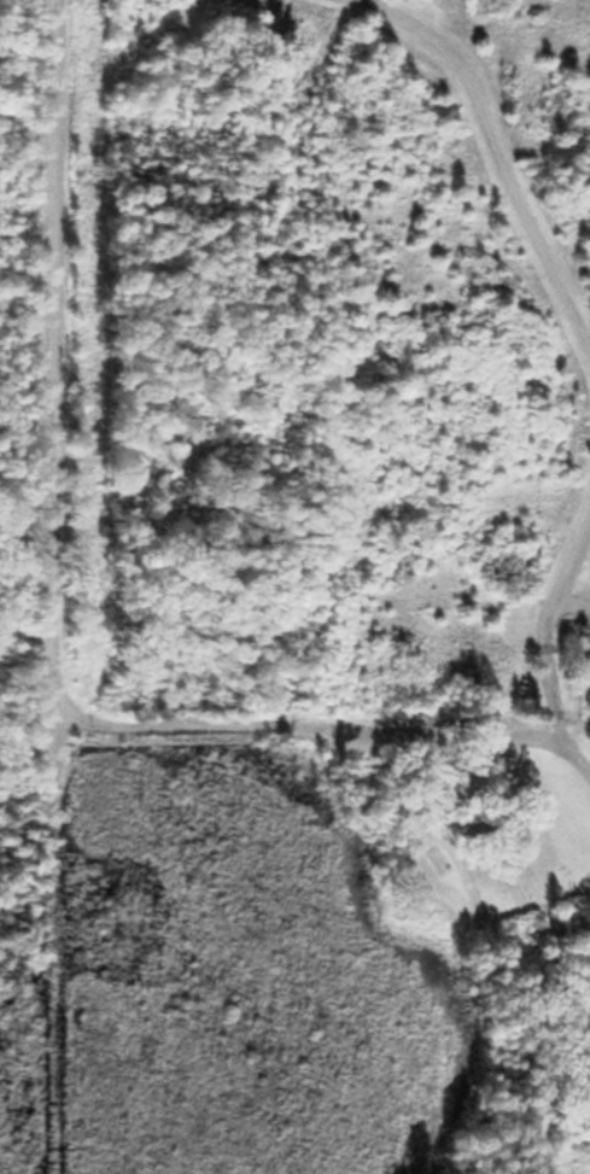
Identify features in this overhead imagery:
road: (56, 396)
road: (332, 728)

